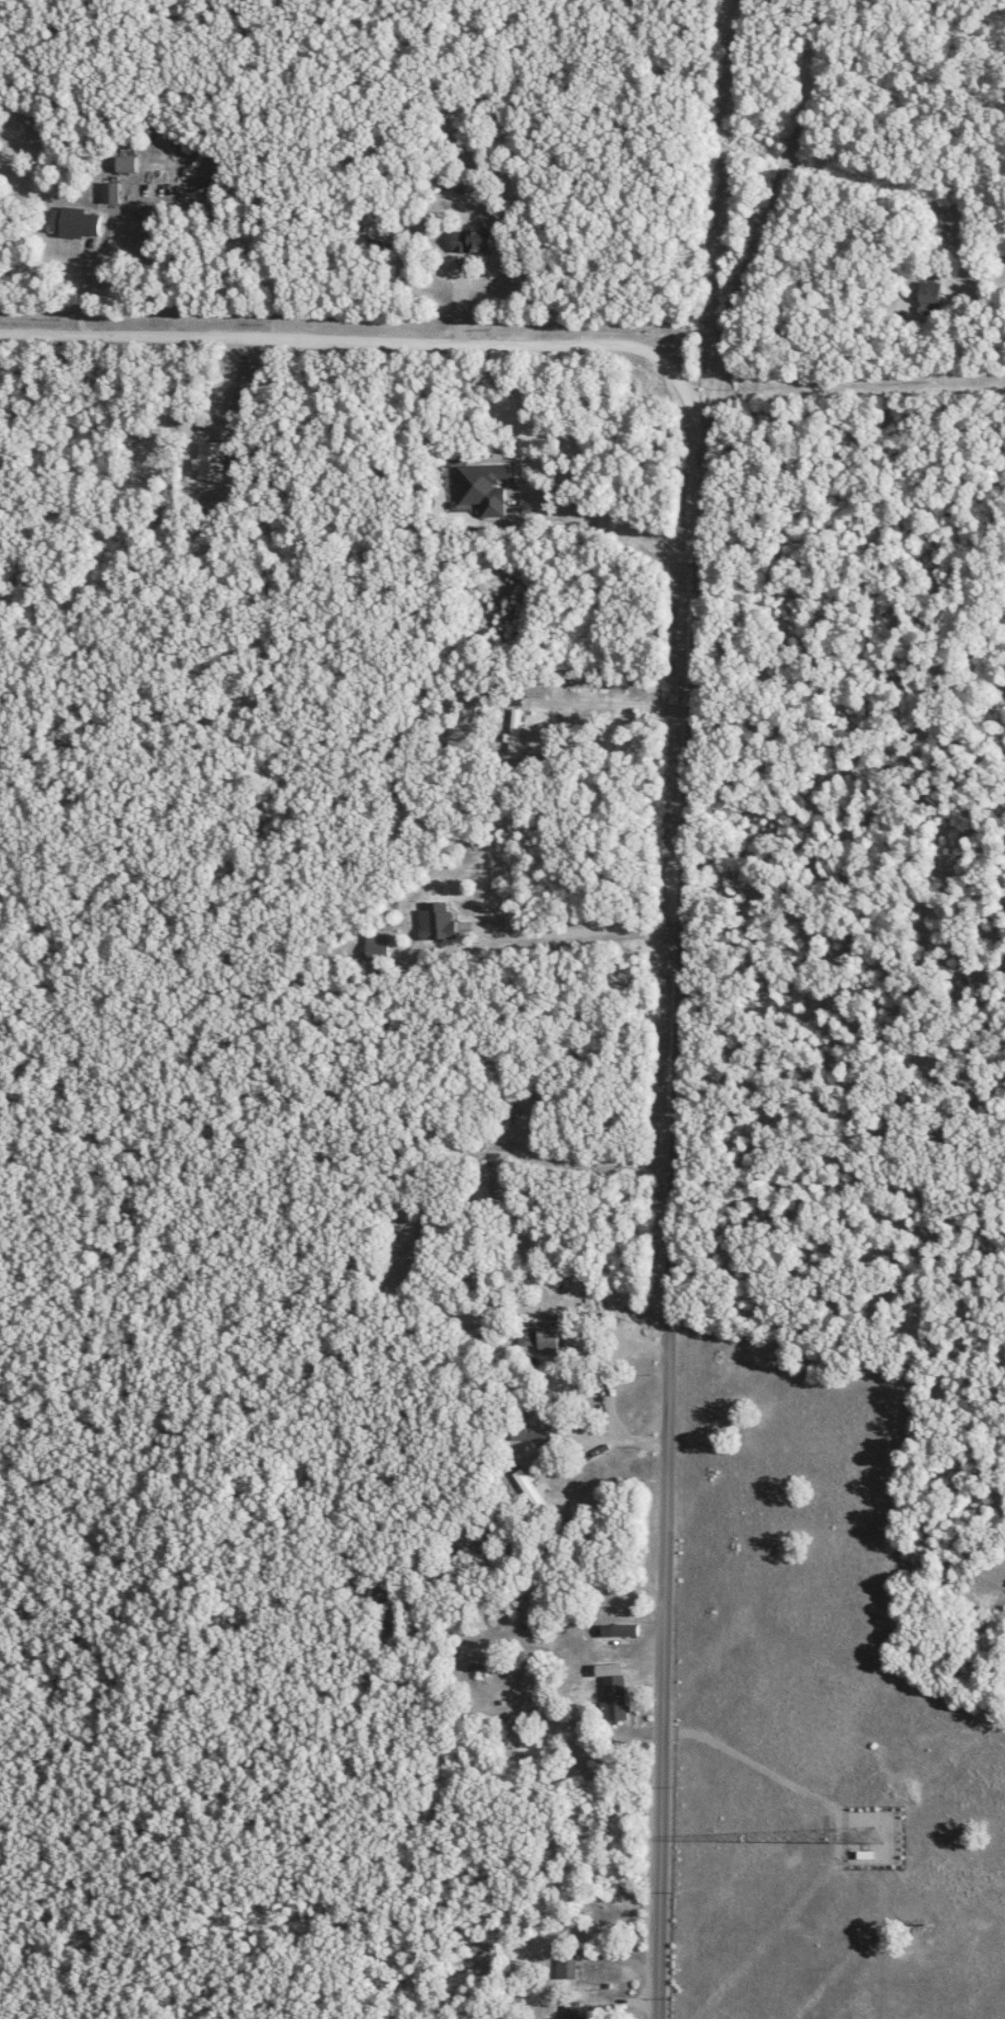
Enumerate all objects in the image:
building: (124, 163)
building: (109, 192)
road: (770, 217)
building: (73, 223)
building: (471, 242)
building: (928, 296)
road: (368, 337)
road: (227, 382)
road: (858, 390)
building: (482, 486)
road: (611, 520)
road: (608, 701)
road: (581, 927)
building: (376, 945)
road: (584, 1155)
building: (480, 1179)
road: (666, 1217)
building: (523, 1337)
building: (547, 1338)
road: (603, 1388)
building: (529, 1434)
building: (618, 1629)
building: (613, 1698)
building: (565, 1965)
building: (574, 2008)

